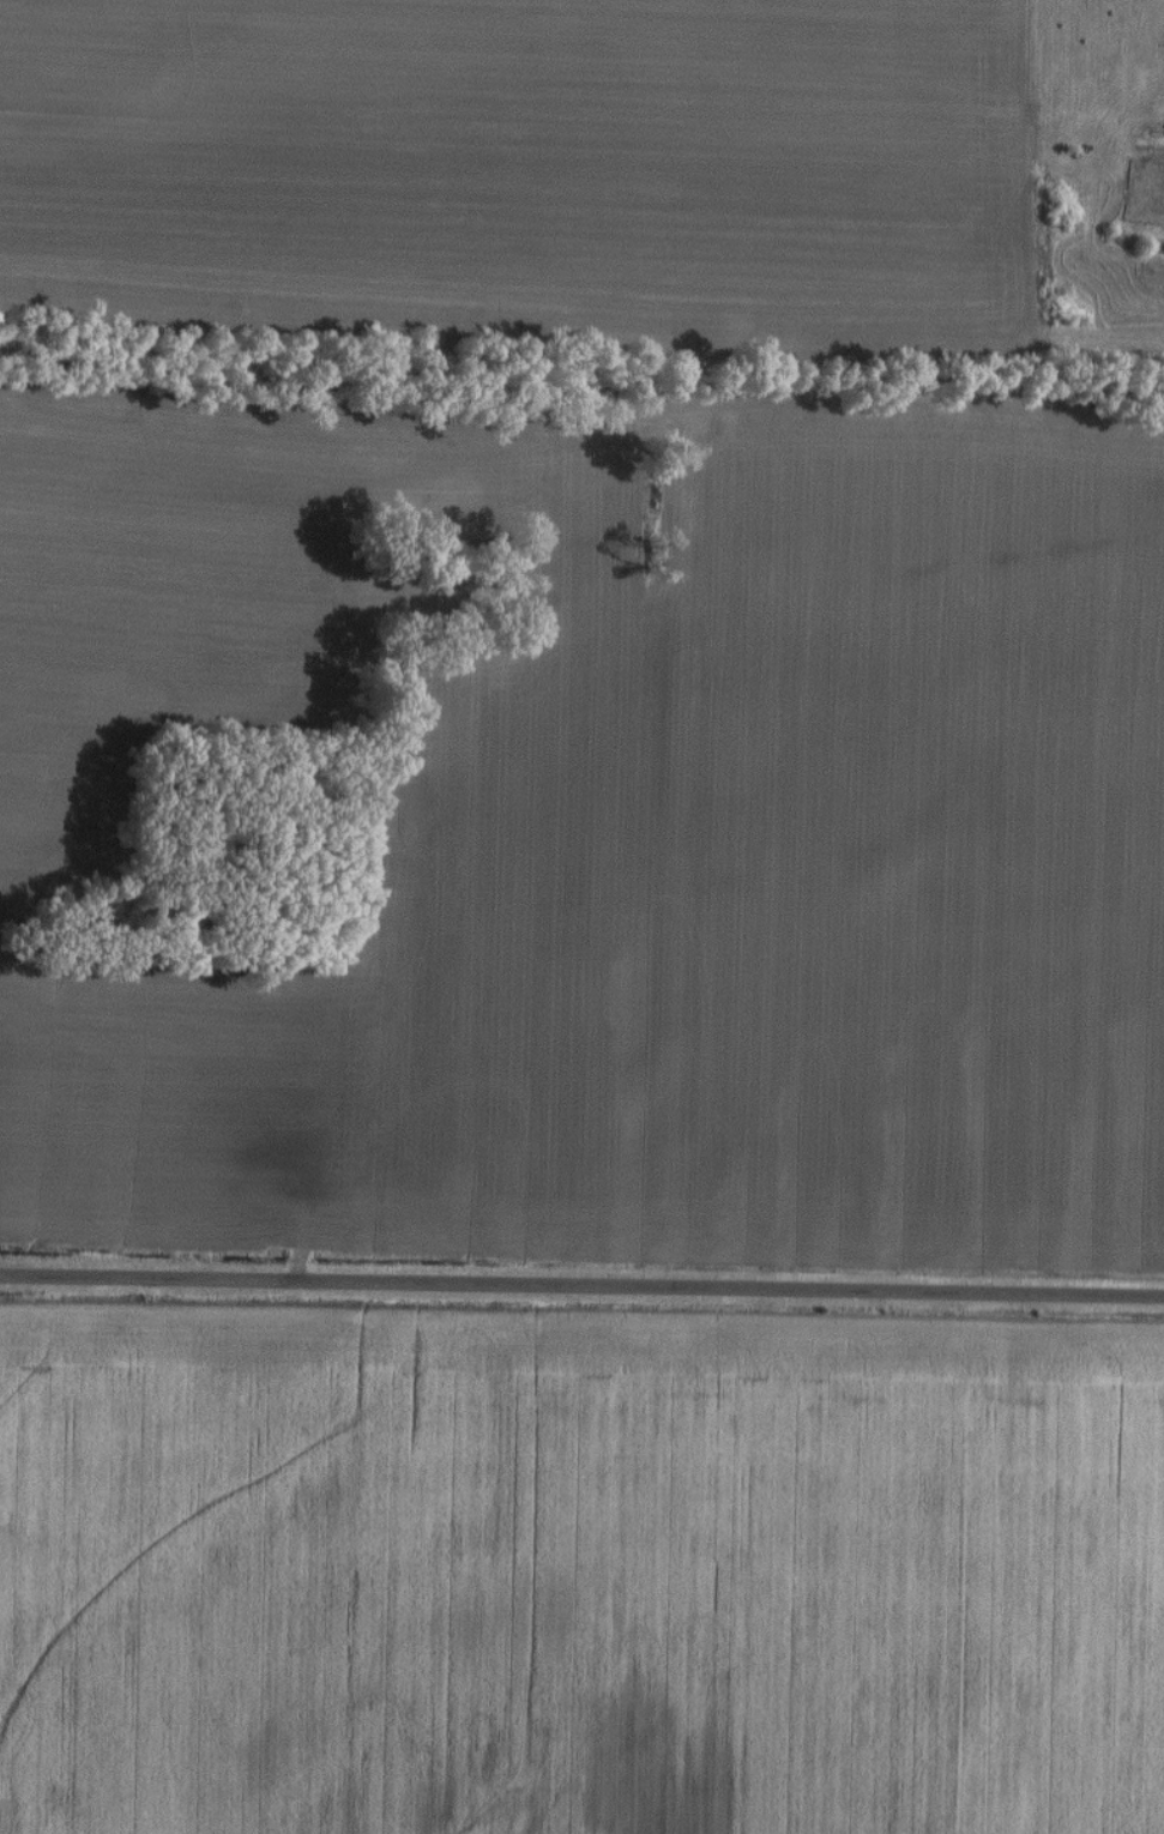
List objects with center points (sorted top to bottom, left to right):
road: (581, 1286)

